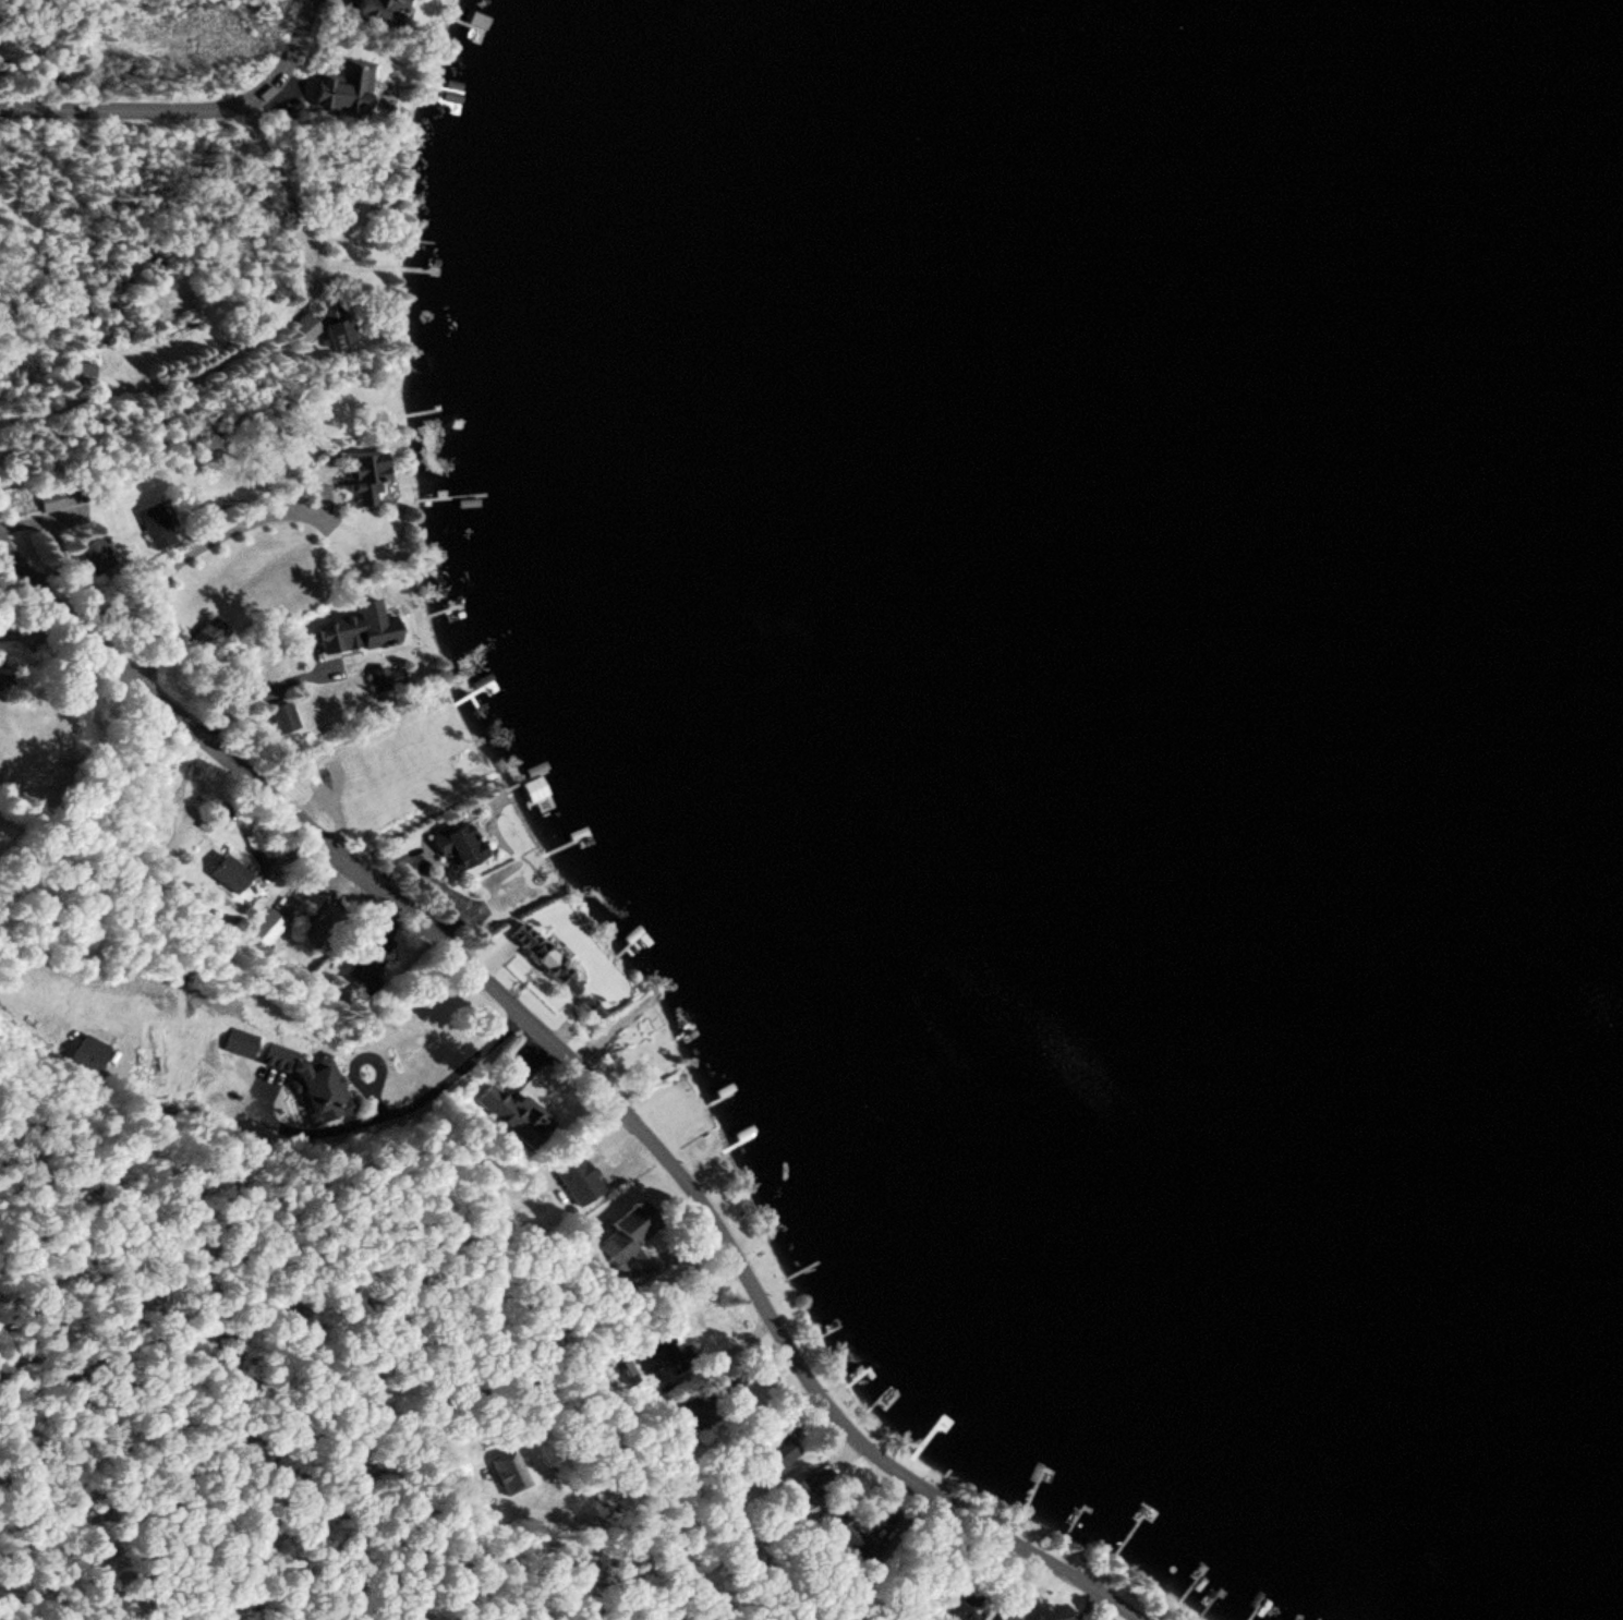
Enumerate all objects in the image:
building: (380, 8)
building: (340, 86)
road: (184, 108)
road: (288, 208)
building: (303, 329)
building: (339, 333)
building: (77, 371)
building: (364, 477)
building: (60, 497)
building: (155, 527)
building: (95, 557)
building: (359, 628)
building: (379, 679)
building: (281, 717)
building: (533, 786)
building: (460, 846)
building: (234, 881)
building: (266, 927)
building: (364, 968)
building: (238, 1042)
building: (87, 1055)
road: (593, 1074)
building: (311, 1081)
building: (513, 1113)
building: (623, 1241)
building: (647, 1357)
building: (508, 1473)
building: (843, 1536)
building: (962, 1612)
building: (1008, 1616)

